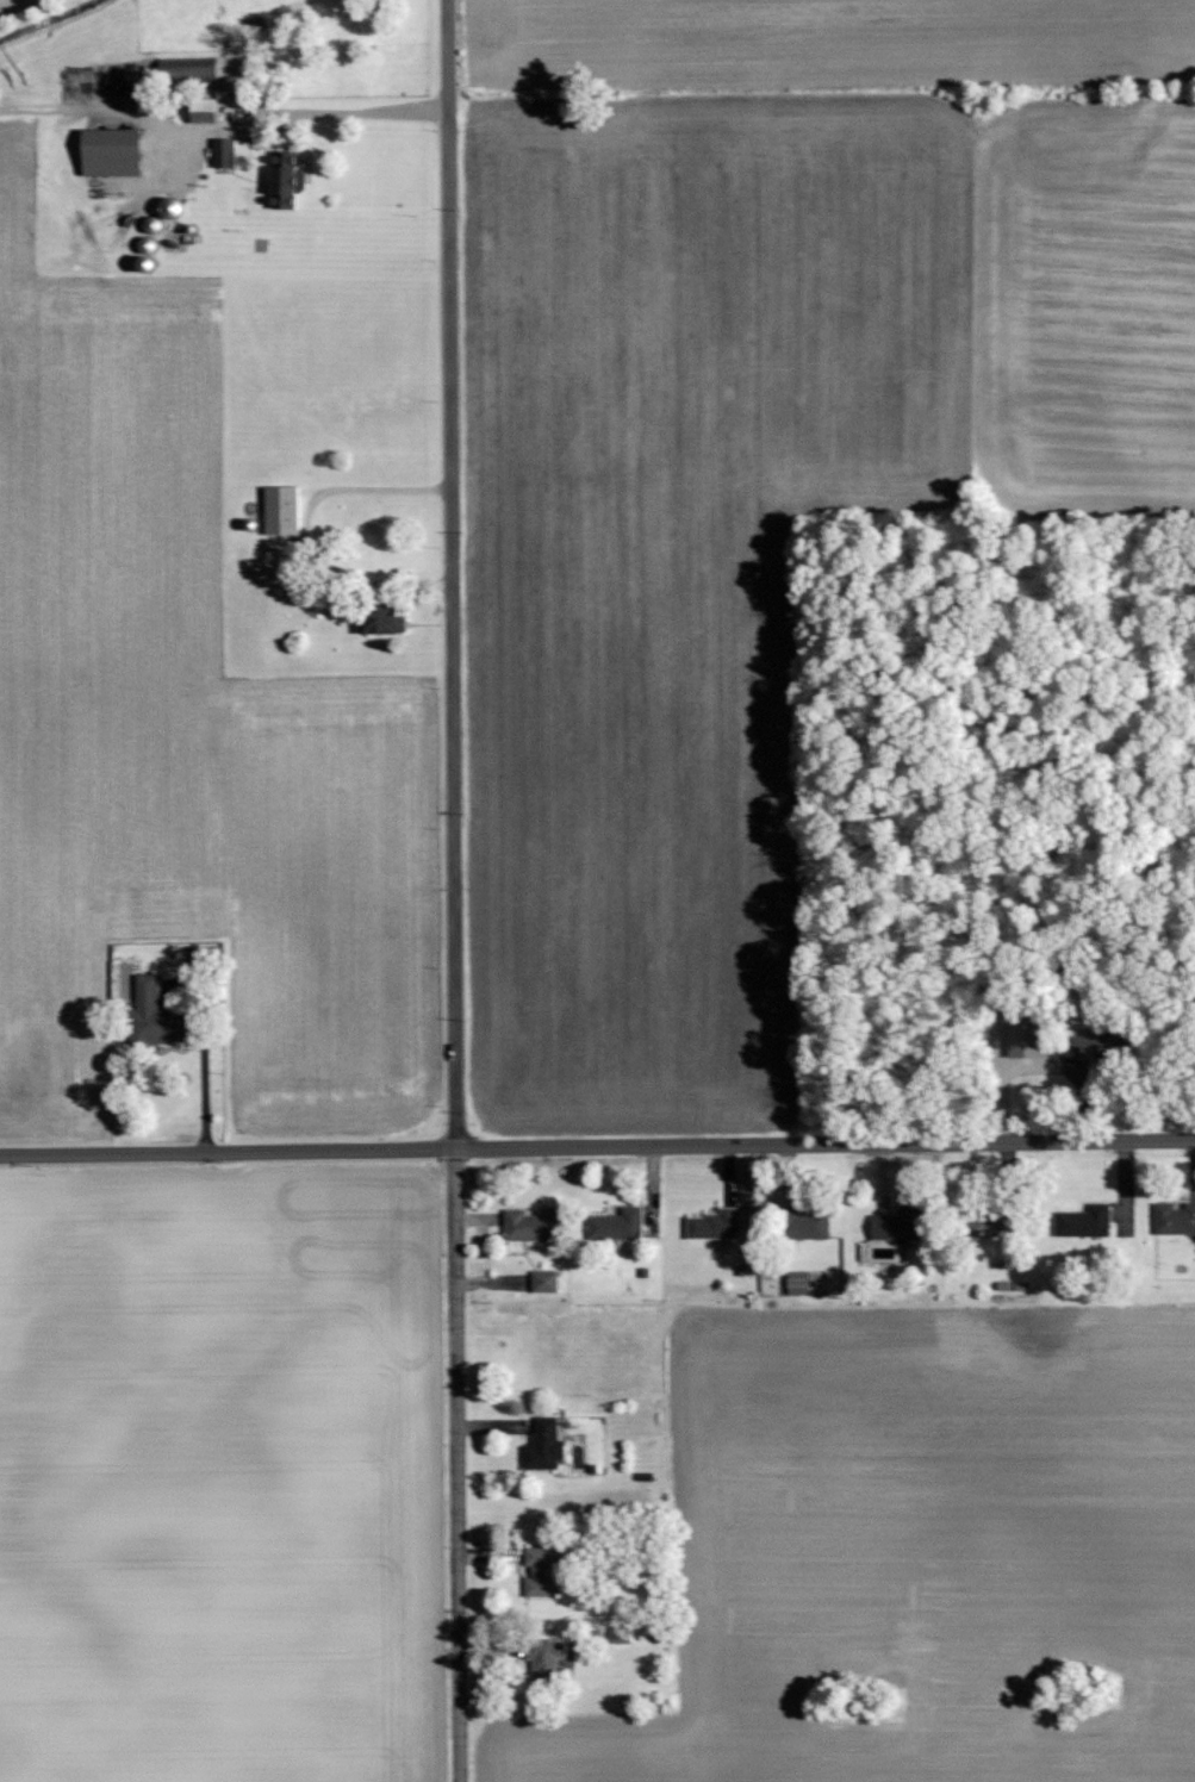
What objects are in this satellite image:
building: (205, 111)
road: (343, 114)
building: (112, 151)
building: (224, 151)
building: (286, 180)
building: (282, 511)
road: (306, 531)
building: (384, 621)
road: (454, 890)
building: (199, 957)
building: (156, 1015)
building: (1020, 1040)
building: (1100, 1046)
road: (208, 1093)
road: (597, 1147)
building: (1172, 1216)
building: (1082, 1220)
building: (801, 1222)
building: (896, 1222)
building: (531, 1225)
building: (1000, 1225)
building: (715, 1226)
building: (618, 1227)
building: (544, 1282)
building: (546, 1445)
building: (540, 1572)
building: (547, 1662)

